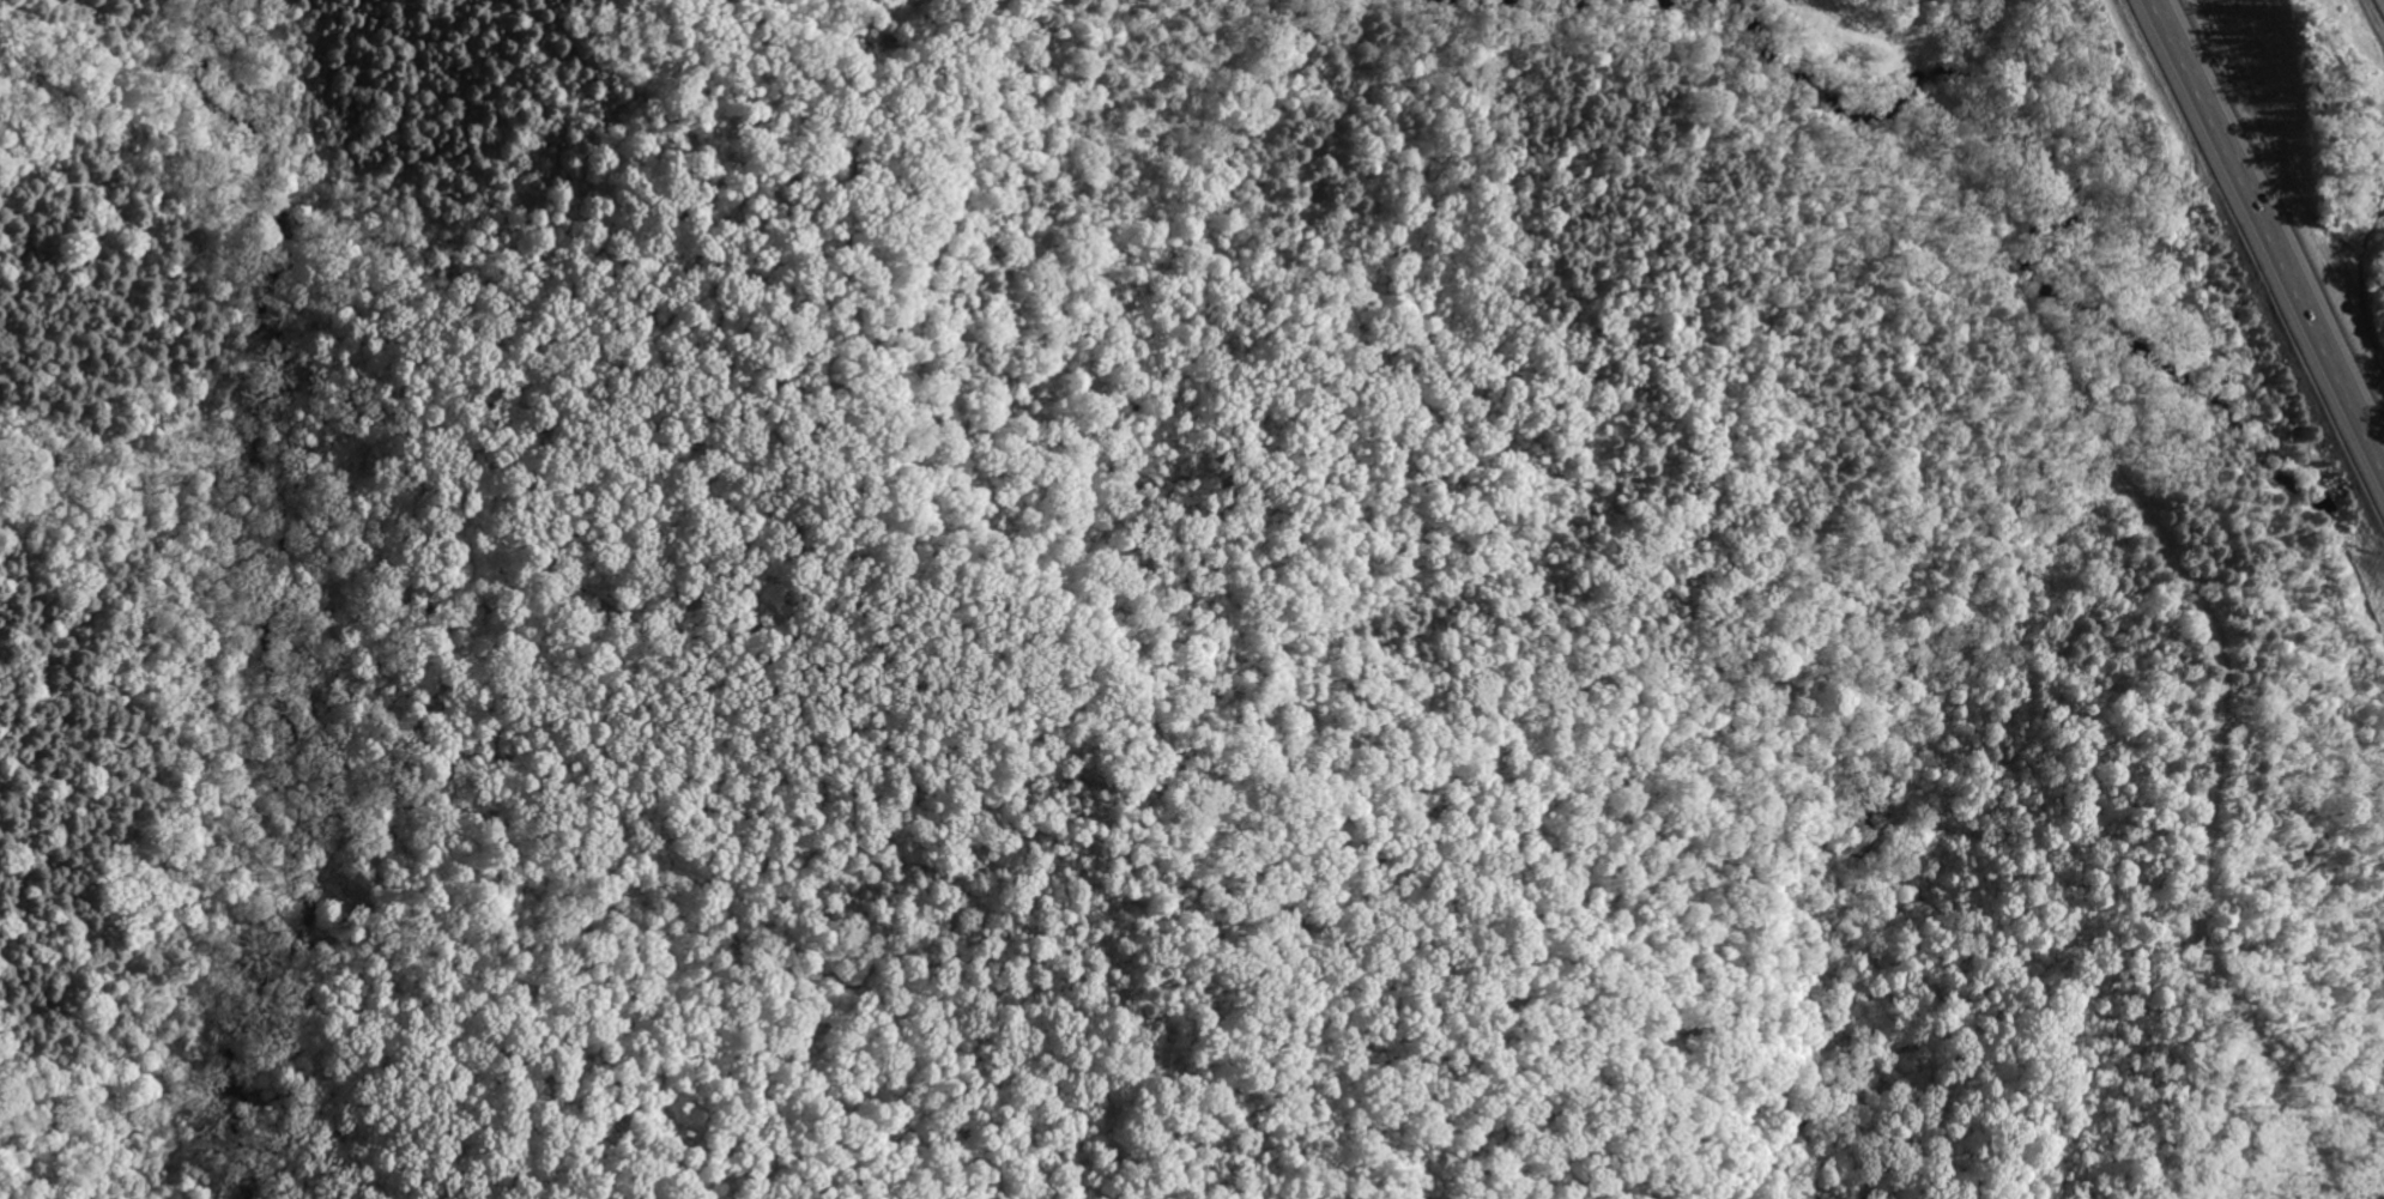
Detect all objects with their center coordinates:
road: (2265, 241)

